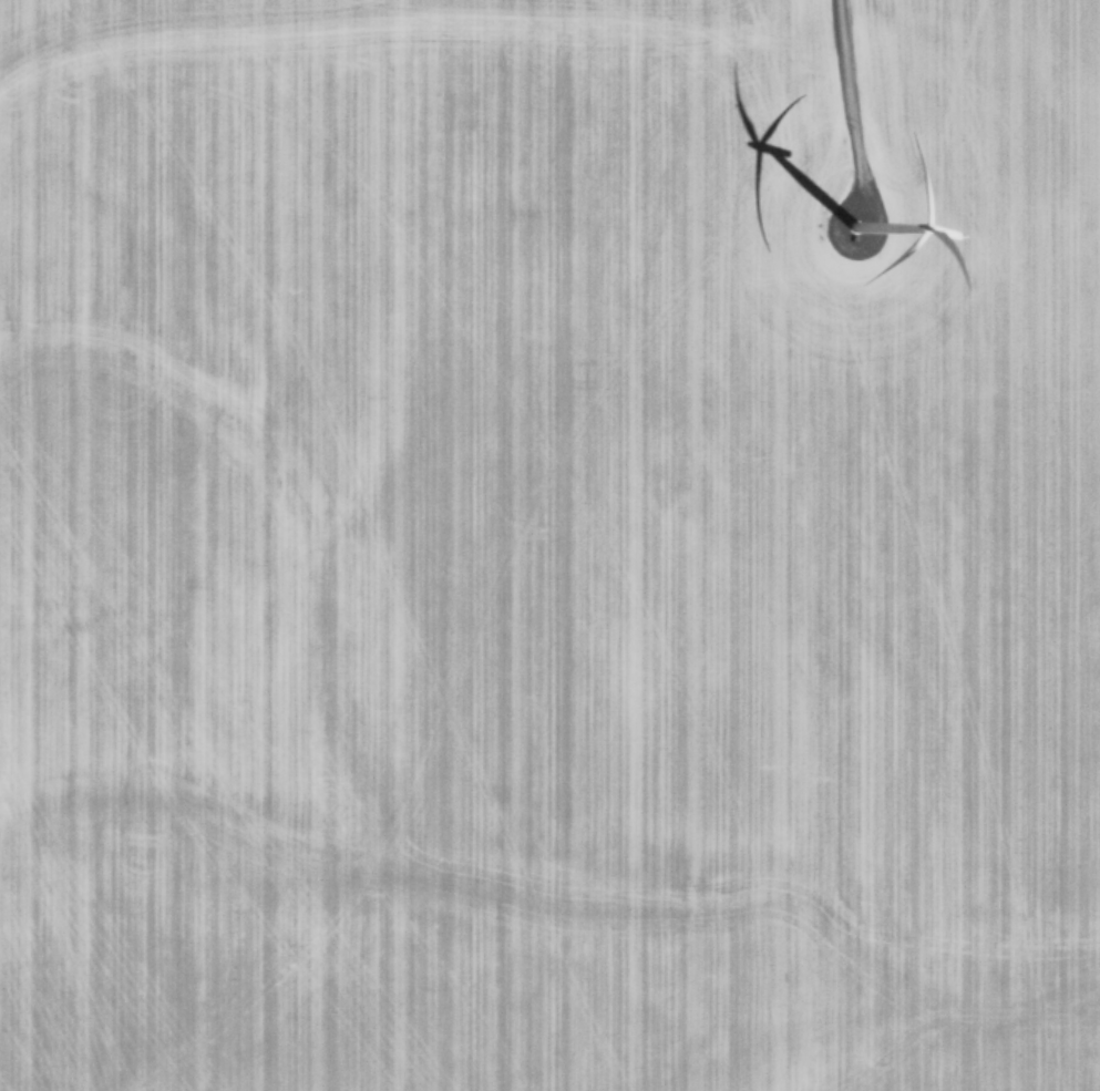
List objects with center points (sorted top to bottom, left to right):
road: (845, 94)
wind turbine: (852, 230)

